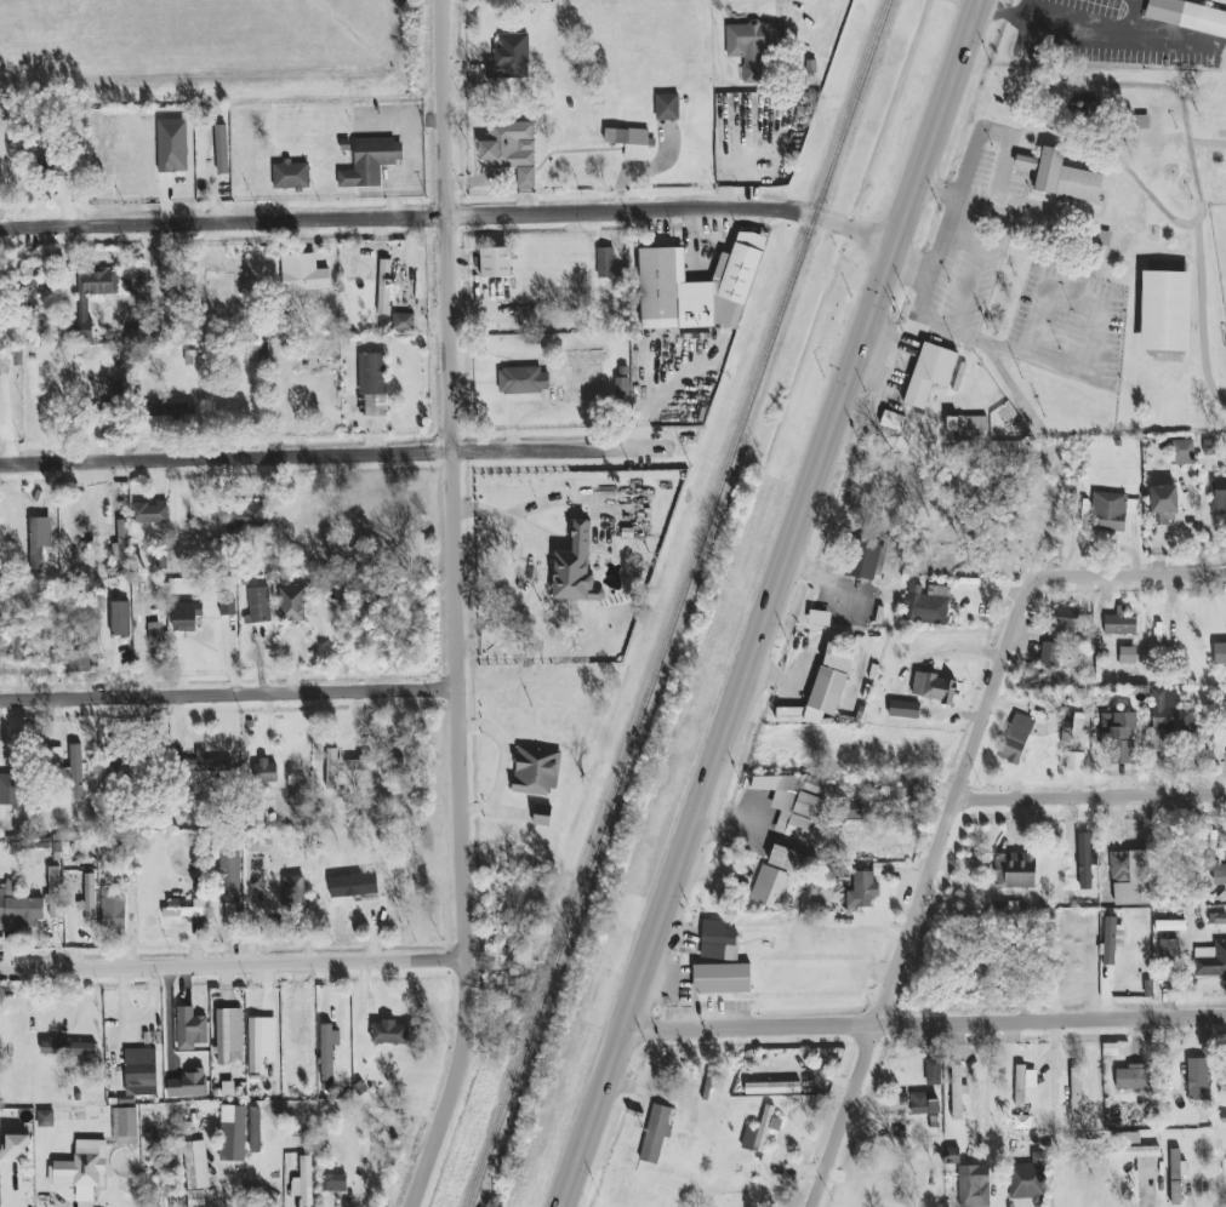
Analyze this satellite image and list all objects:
building: (1187, 16)
building: (752, 45)
building: (509, 57)
building: (667, 107)
building: (629, 142)
building: (172, 145)
road: (1087, 145)
building: (222, 149)
building: (511, 149)
building: (370, 162)
building: (291, 176)
building: (1062, 177)
road: (1196, 177)
road: (940, 189)
road: (450, 216)
parking lot: (979, 230)
park: (1094, 238)
park: (1221, 241)
road: (971, 261)
building: (495, 262)
road: (916, 262)
building: (605, 263)
building: (303, 274)
building: (384, 287)
building: (696, 287)
building: (87, 301)
road: (1100, 305)
park: (1168, 310)
building: (1165, 311)
building: (403, 322)
parking lot: (1066, 326)
road: (988, 342)
building: (258, 351)
building: (929, 373)
building: (524, 381)
building: (622, 382)
building: (372, 383)
road: (1010, 384)
building: (232, 404)
building: (170, 411)
building: (893, 421)
building: (965, 427)
building: (1184, 452)
road: (320, 457)
building: (1219, 496)
building: (1163, 504)
building: (1111, 510)
building: (149, 513)
building: (245, 517)
building: (122, 542)
building: (38, 543)
building: (868, 561)
building: (575, 568)
road: (1130, 576)
building: (291, 600)
railway: (680, 602)
road: (770, 602)
building: (260, 605)
building: (926, 605)
road: (455, 607)
building: (227, 608)
building: (186, 616)
building: (820, 618)
building: (120, 619)
building: (1119, 624)
building: (154, 633)
building: (1062, 636)
building: (1220, 653)
building: (1128, 656)
building: (80, 660)
building: (934, 688)
road: (228, 693)
building: (903, 709)
building: (1168, 721)
building: (1073, 725)
building: (1118, 738)
building: (1015, 739)
building: (56, 755)
building: (1074, 762)
building: (375, 763)
building: (206, 765)
building: (267, 771)
building: (536, 771)
building: (75, 772)
building: (10, 789)
building: (896, 789)
road: (1090, 797)
building: (796, 803)
building: (854, 811)
building: (542, 816)
building: (260, 842)
building: (44, 845)
building: (787, 859)
building: (1085, 860)
building: (1015, 871)
building: (229, 876)
building: (1130, 877)
building: (353, 886)
building: (769, 887)
building: (862, 891)
road: (923, 892)
building: (55, 893)
building: (292, 894)
building: (89, 897)
building: (515, 905)
building: (184, 909)
building: (18, 910)
building: (114, 915)
building: (1169, 926)
building: (1112, 939)
building: (718, 942)
building: (1168, 948)
building: (1210, 961)
road: (232, 966)
building: (722, 979)
road: (924, 1025)
building: (190, 1029)
building: (389, 1032)
building: (222, 1036)
building: (255, 1045)
building: (68, 1048)
building: (327, 1053)
building: (141, 1065)
building: (933, 1072)
building: (1136, 1080)
building: (1197, 1080)
building: (1023, 1083)
building: (188, 1085)
building: (772, 1088)
building: (1222, 1091)
building: (956, 1092)
building: (1076, 1092)
building: (923, 1104)
building: (46, 1119)
building: (125, 1126)
building: (255, 1129)
building: (760, 1132)
building: (233, 1133)
building: (656, 1133)
building: (16, 1146)
building: (1133, 1154)
building: (953, 1156)
building: (82, 1169)
building: (195, 1173)
building: (1176, 1175)
building: (1030, 1178)
building: (306, 1180)
building: (333, 1183)
building: (974, 1186)

